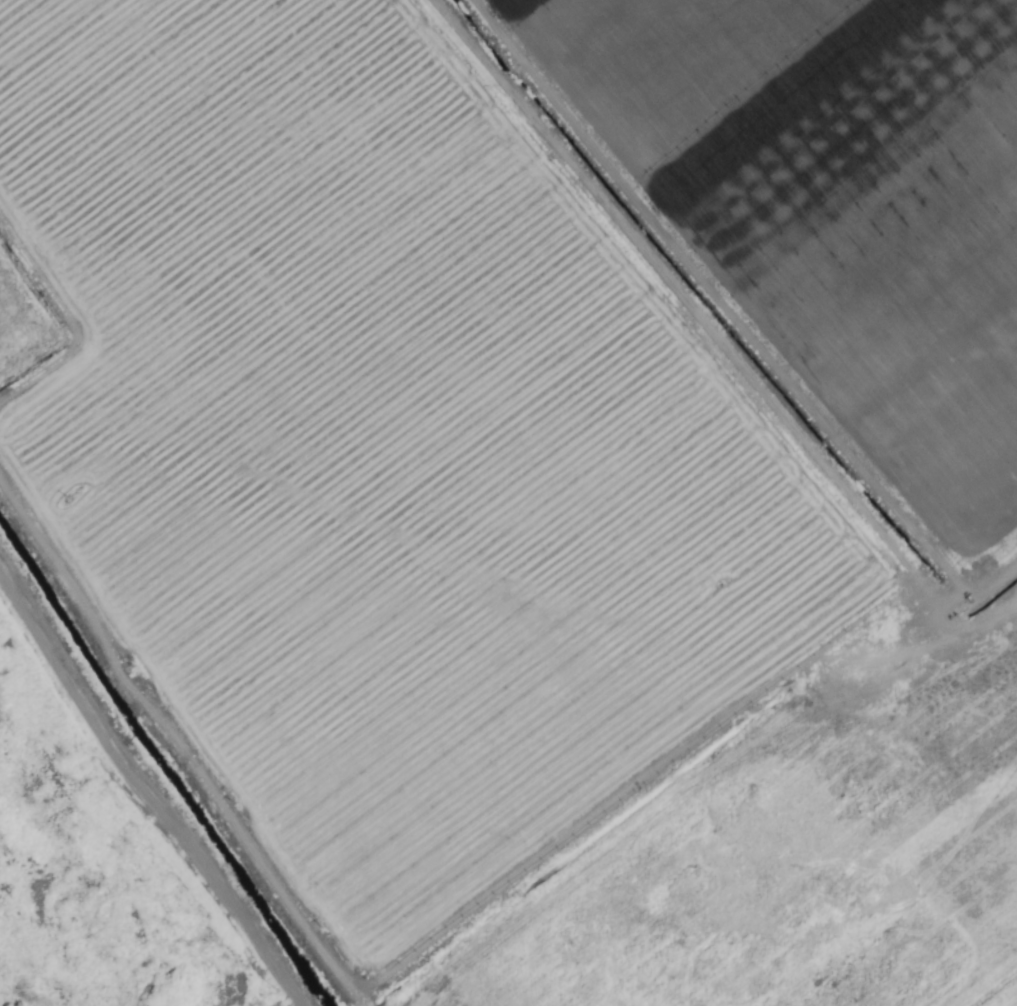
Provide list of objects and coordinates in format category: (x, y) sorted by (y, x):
crop: (508, 503)

